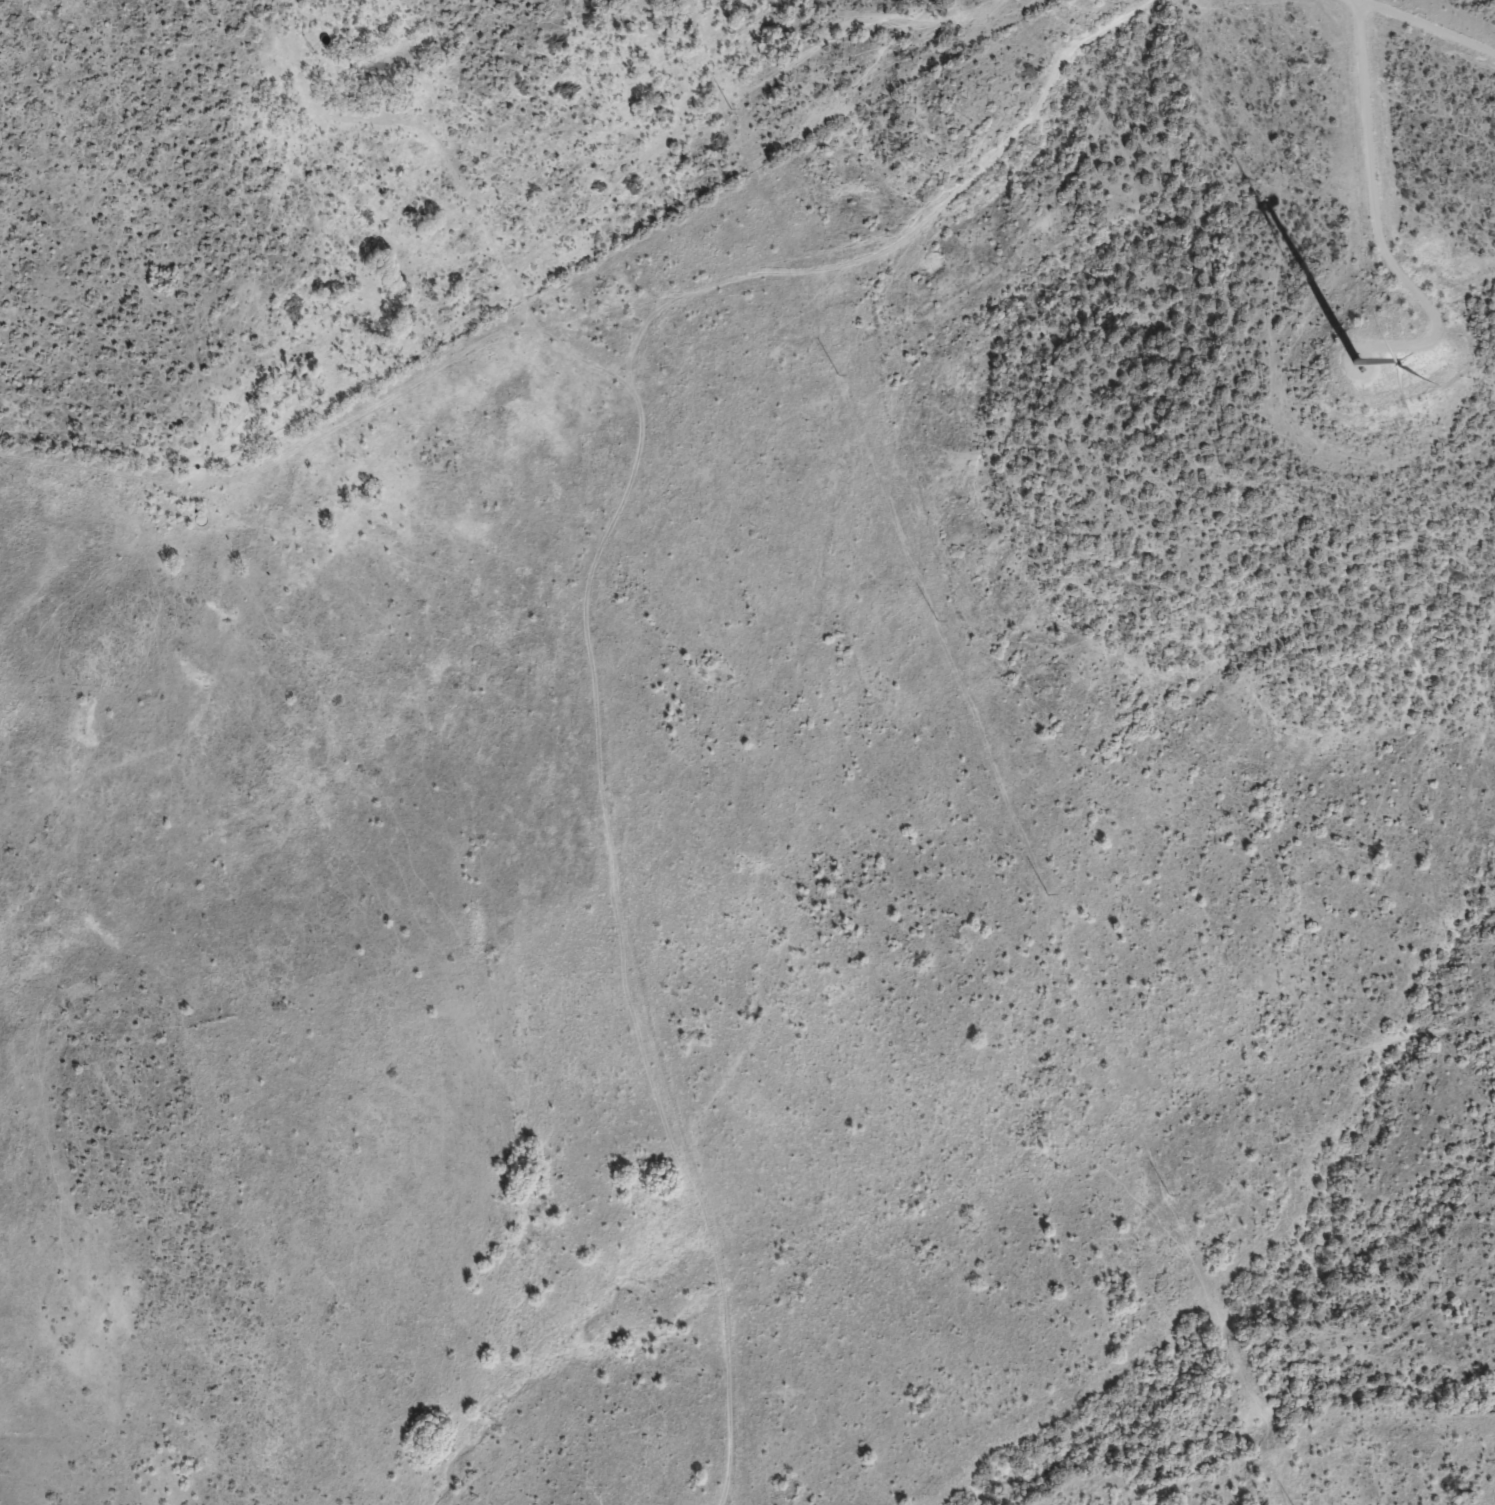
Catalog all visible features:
power tower: (729, 104)
road: (985, 198)
road: (565, 330)
wind turbine: (1354, 362)
power tower: (838, 373)
power tower: (936, 618)
road: (627, 643)
power tower: (1049, 893)
power tower: (1166, 1191)

